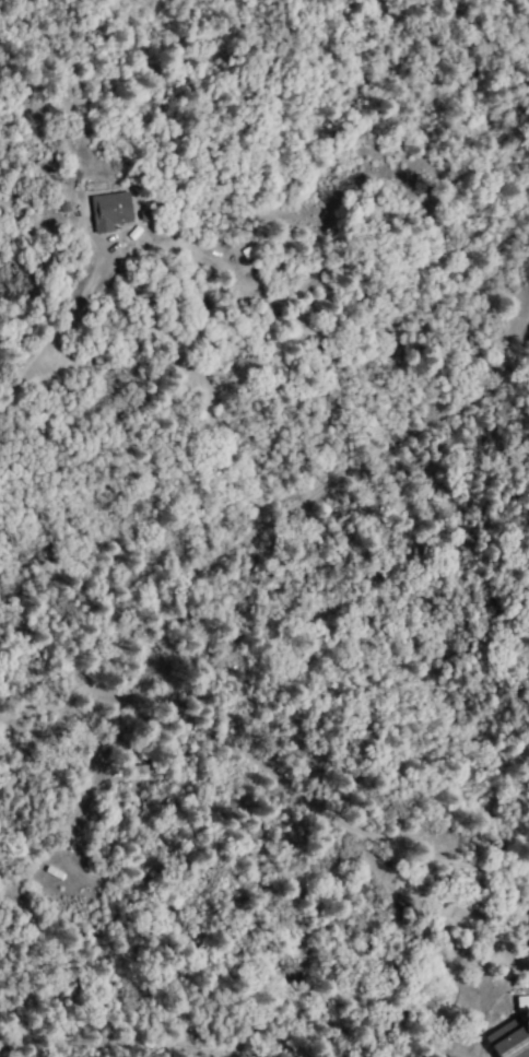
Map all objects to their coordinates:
building: (97, 214)
road: (50, 334)
road: (298, 505)
road: (266, 773)
building: (520, 1005)
road: (106, 1045)
road: (219, 1054)

